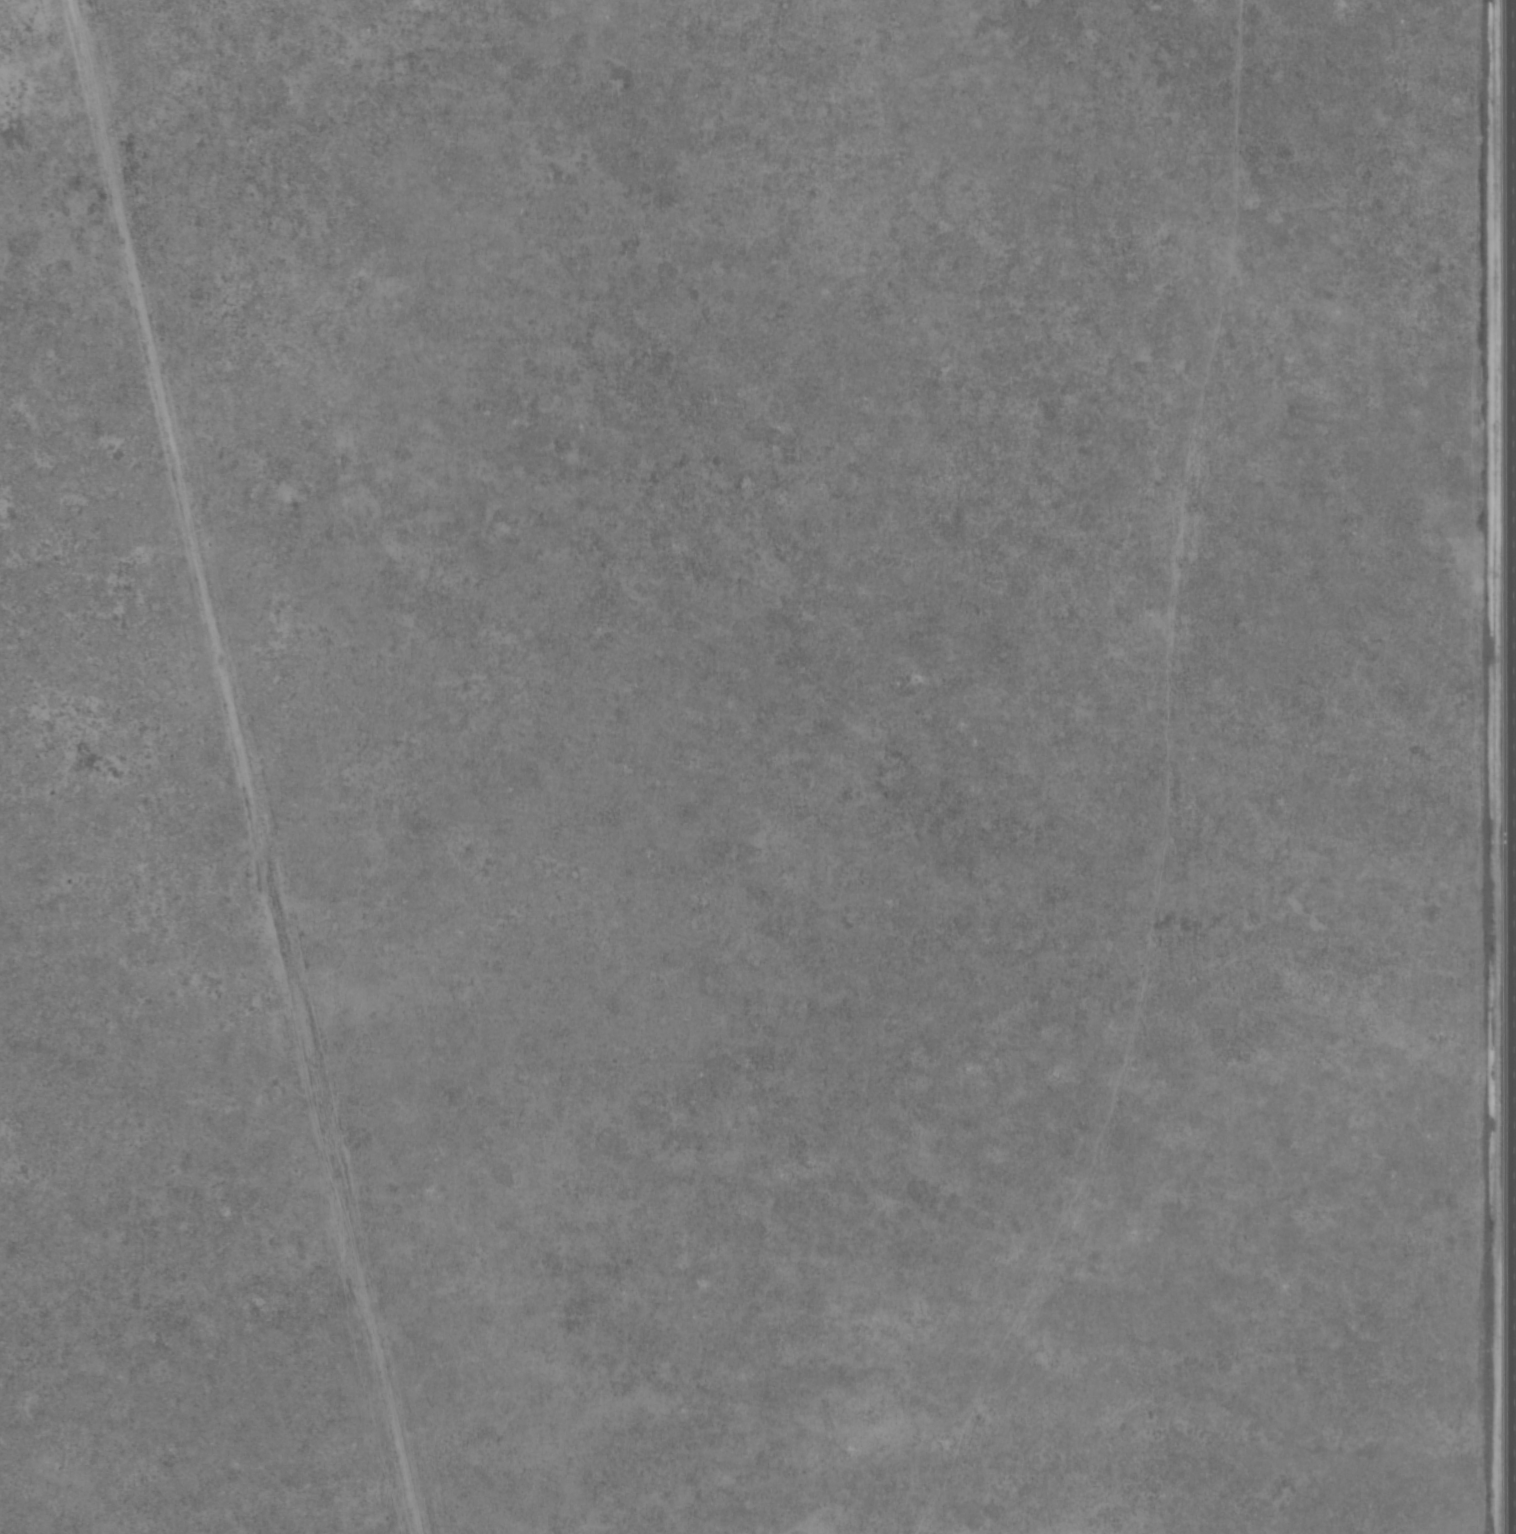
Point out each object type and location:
road: (1505, 767)

